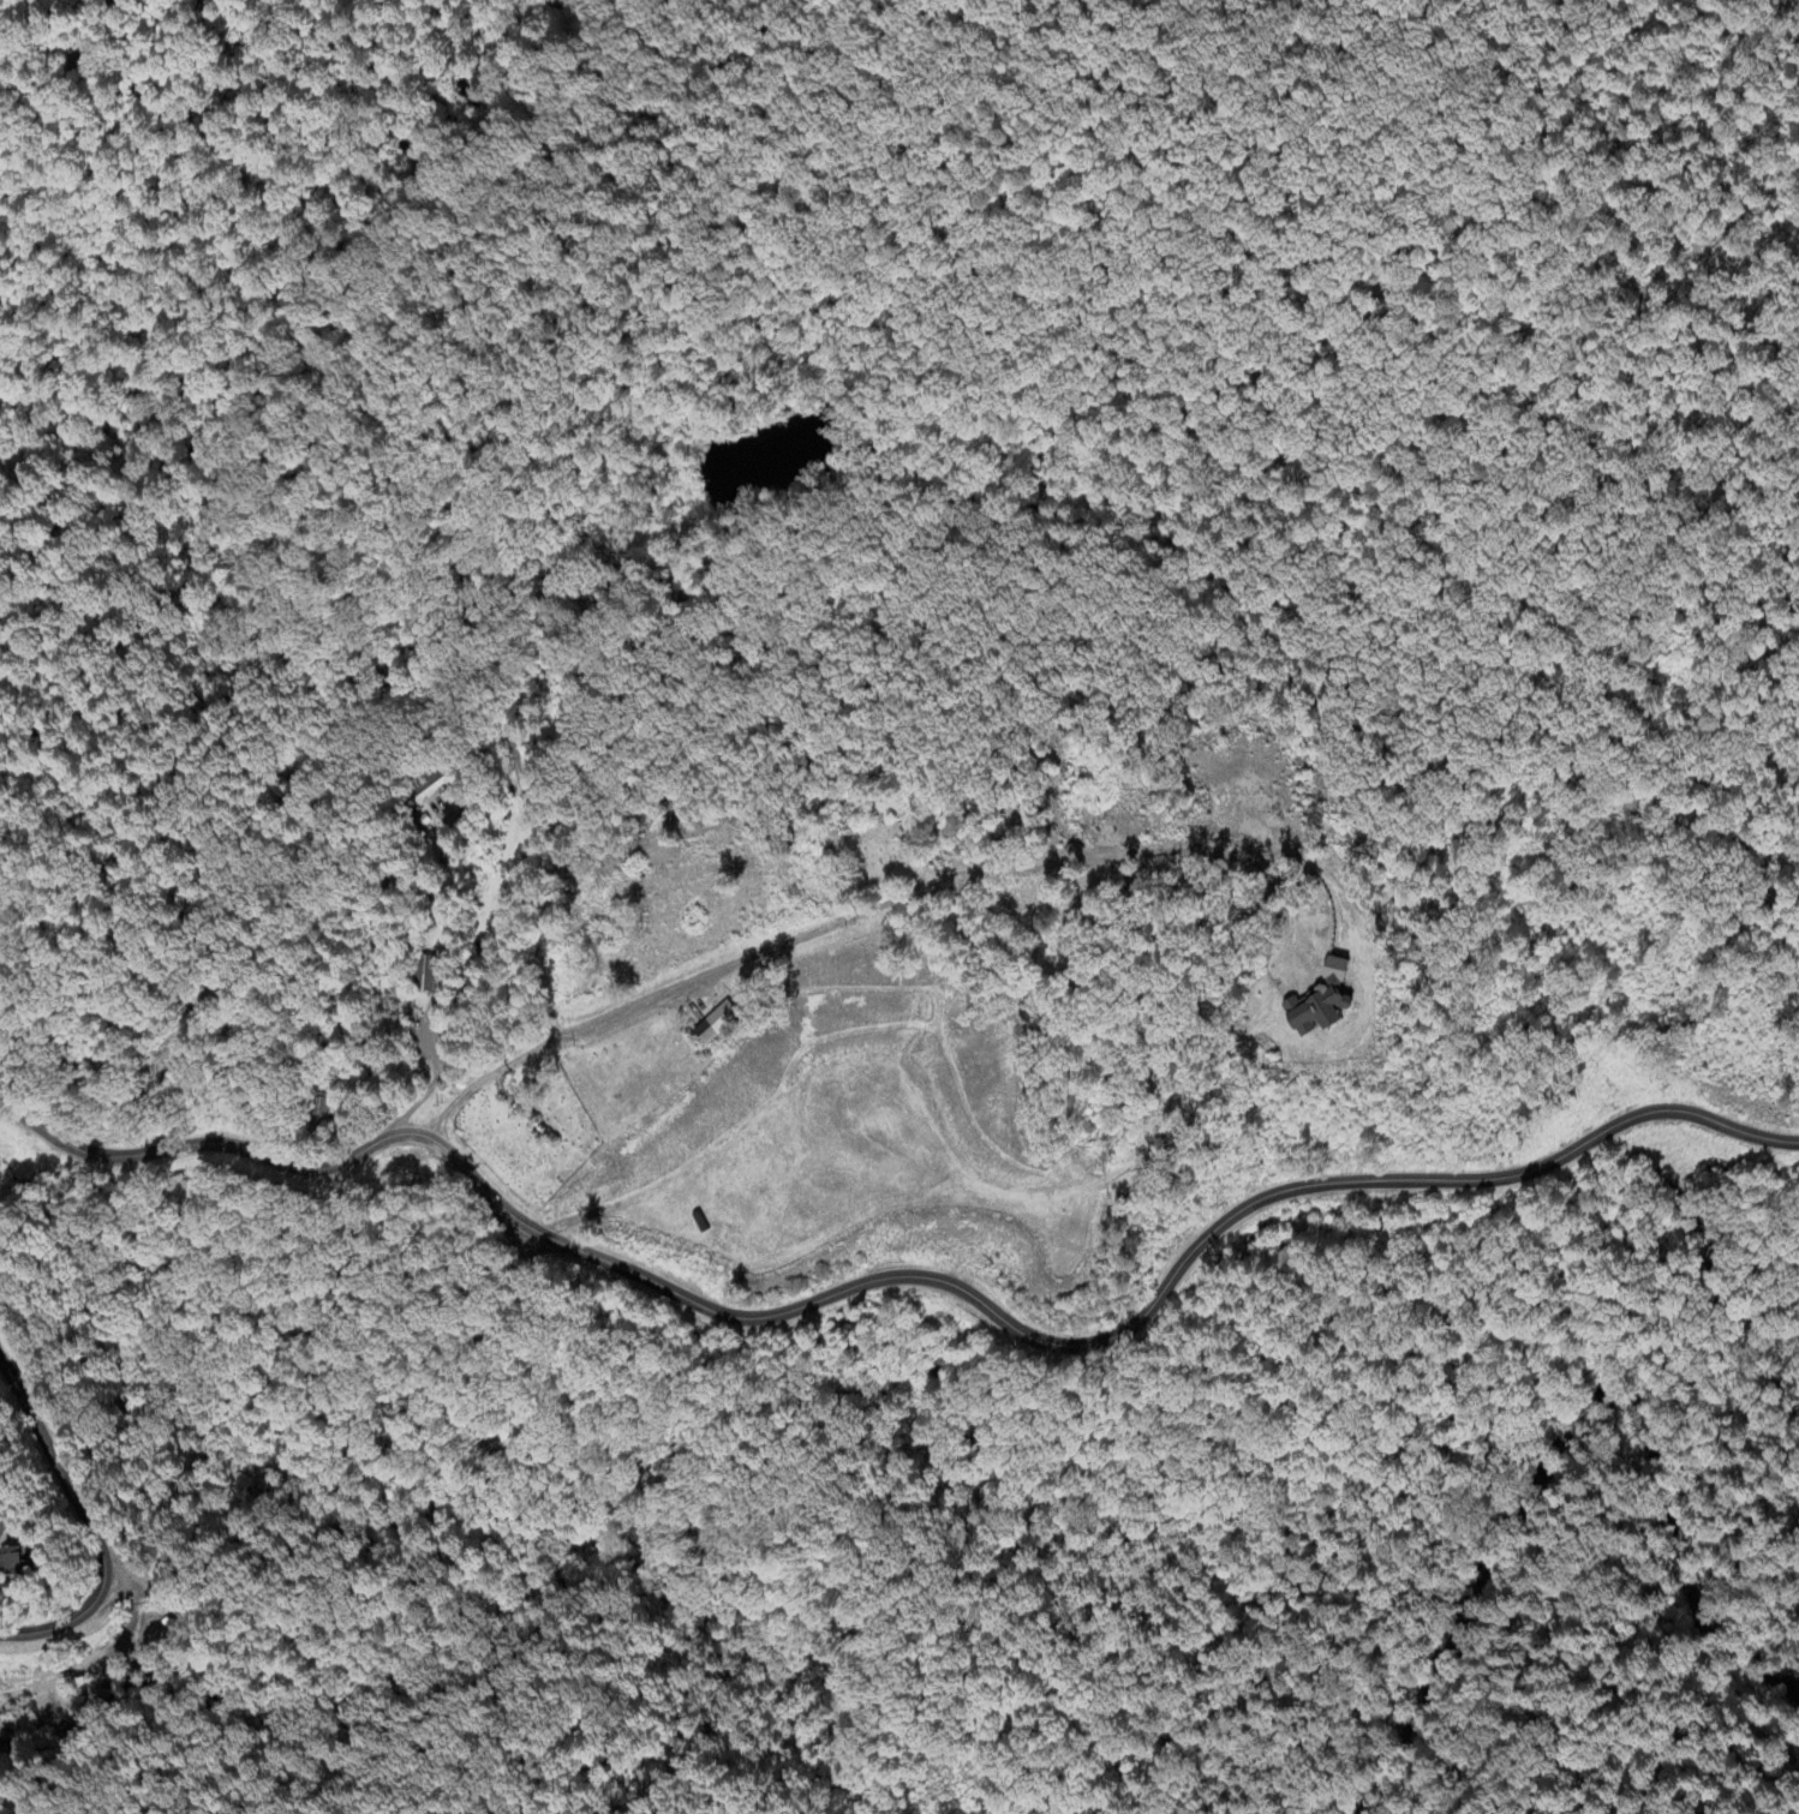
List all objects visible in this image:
building: (429, 788)
road: (925, 884)
road: (510, 893)
building: (425, 975)
building: (1319, 1002)
building: (713, 1028)
road: (456, 1101)
road: (919, 1275)
road: (1488, 1492)
road: (98, 1511)
building: (1, 1529)
building: (8, 1561)

